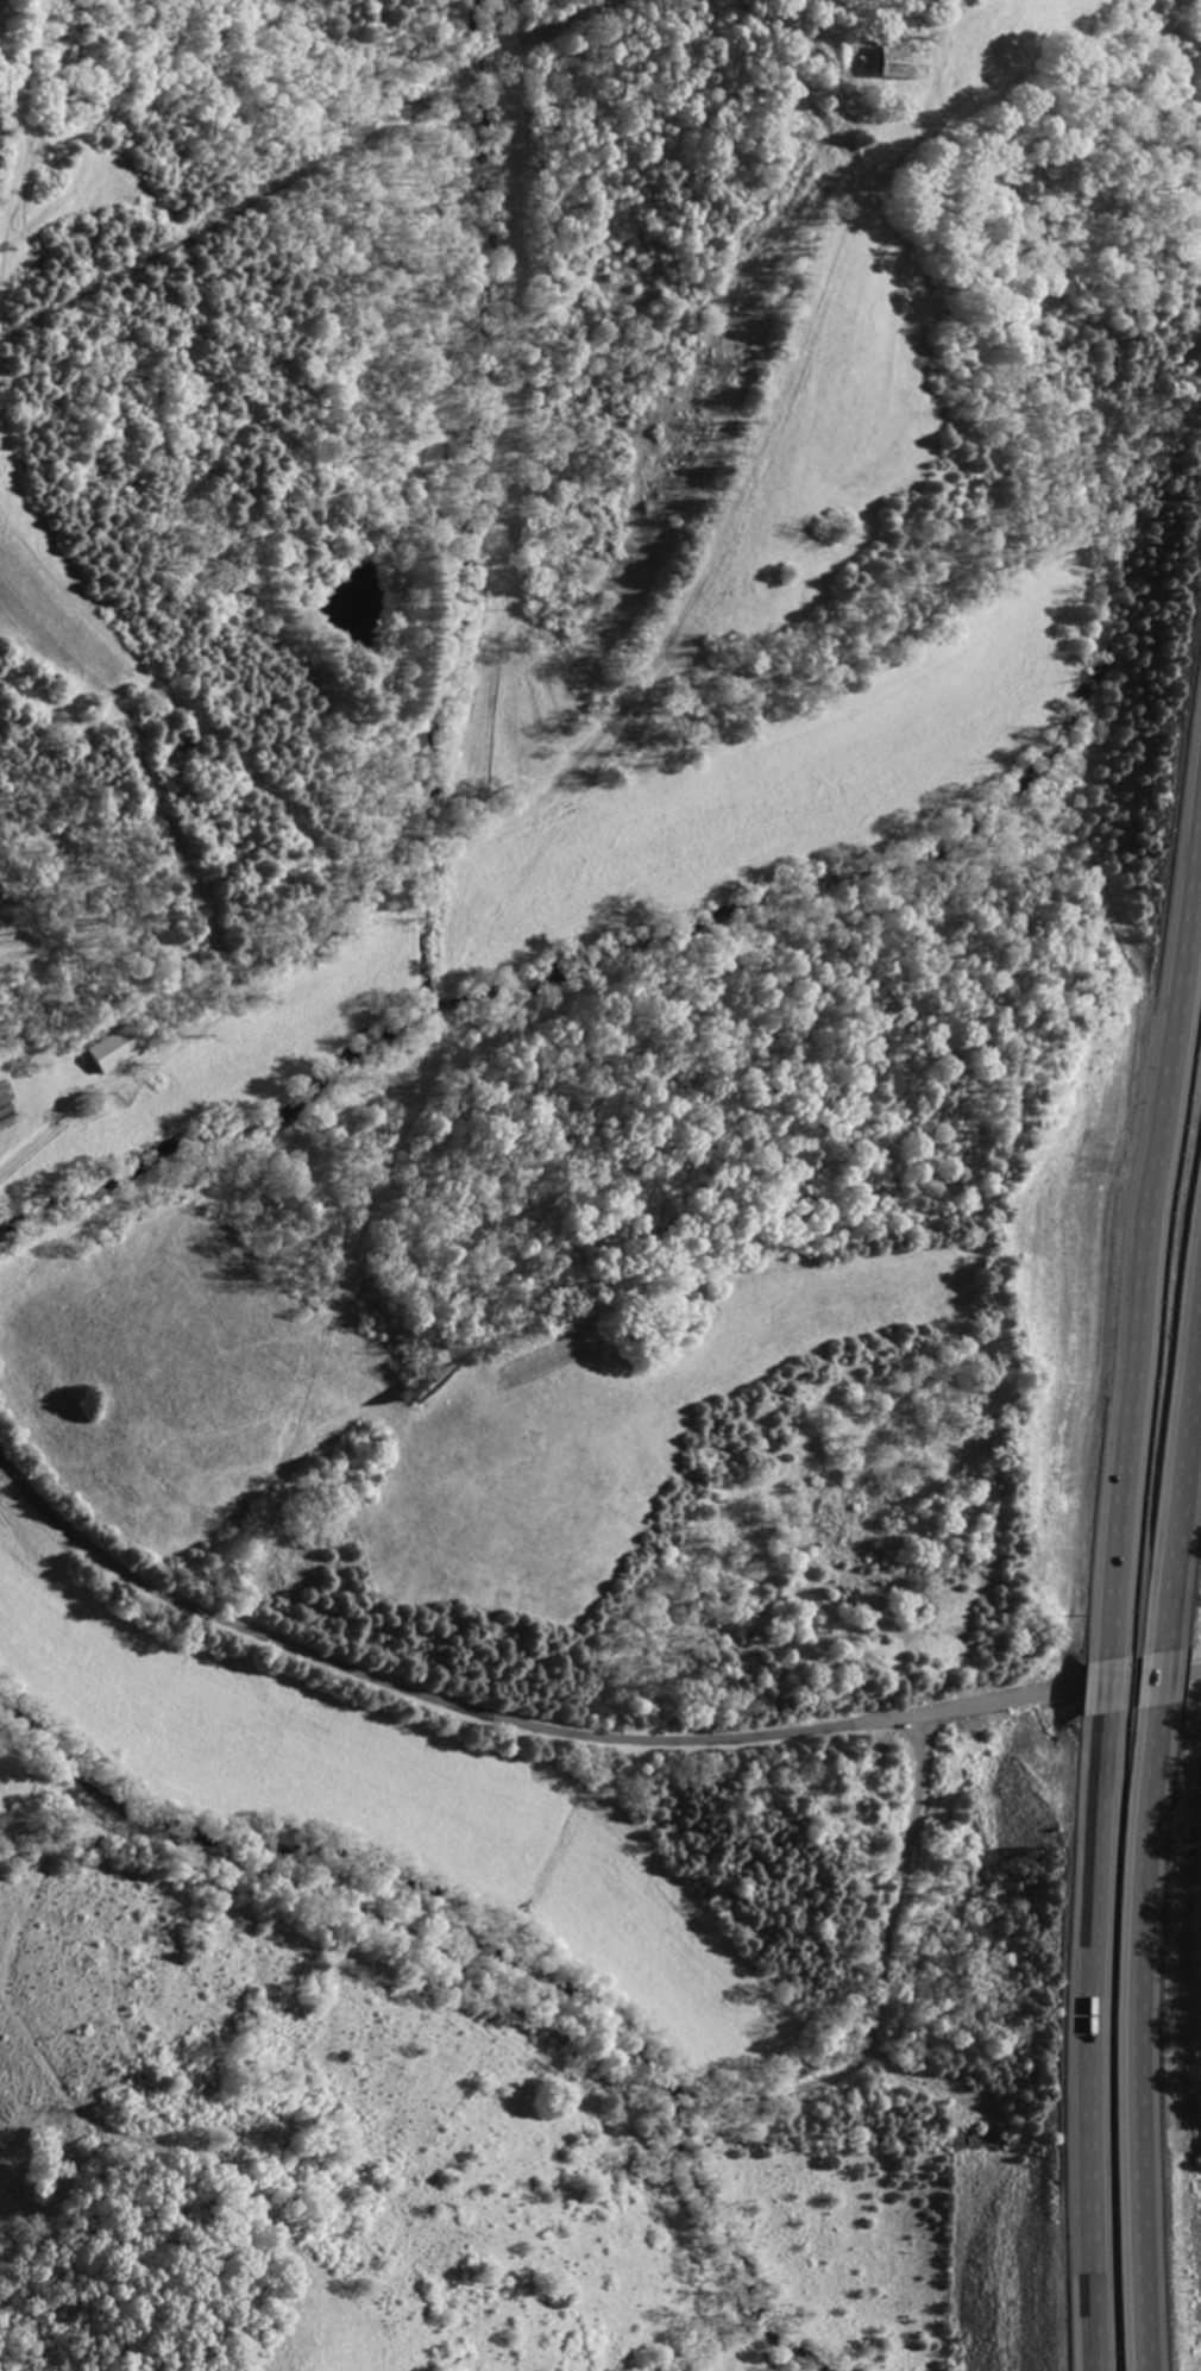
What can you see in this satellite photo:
road: (507, 820)
road: (1149, 1224)
road: (1182, 1543)
road: (1162, 1676)
road: (1105, 1685)
road: (562, 1732)
road: (1142, 2037)
road: (1084, 2040)
road: (578, 2059)
road: (693, 2229)

